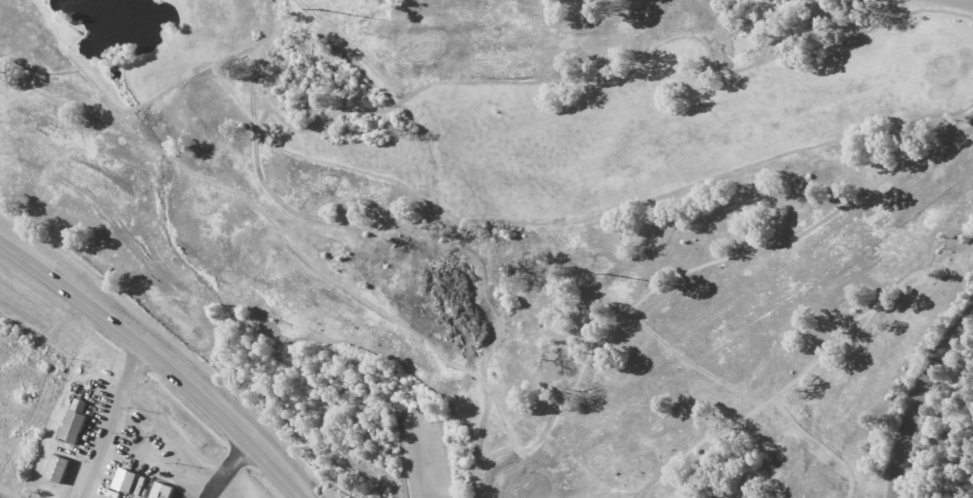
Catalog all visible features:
road: (959, 2)
power tower: (320, 9)
park: (515, 220)
power tower: (609, 274)
road: (159, 360)
road: (919, 399)
park: (924, 402)
building: (82, 405)
road: (114, 422)
building: (77, 427)
road: (188, 454)
building: (62, 470)
building: (130, 481)
road: (210, 490)
building: (167, 491)

